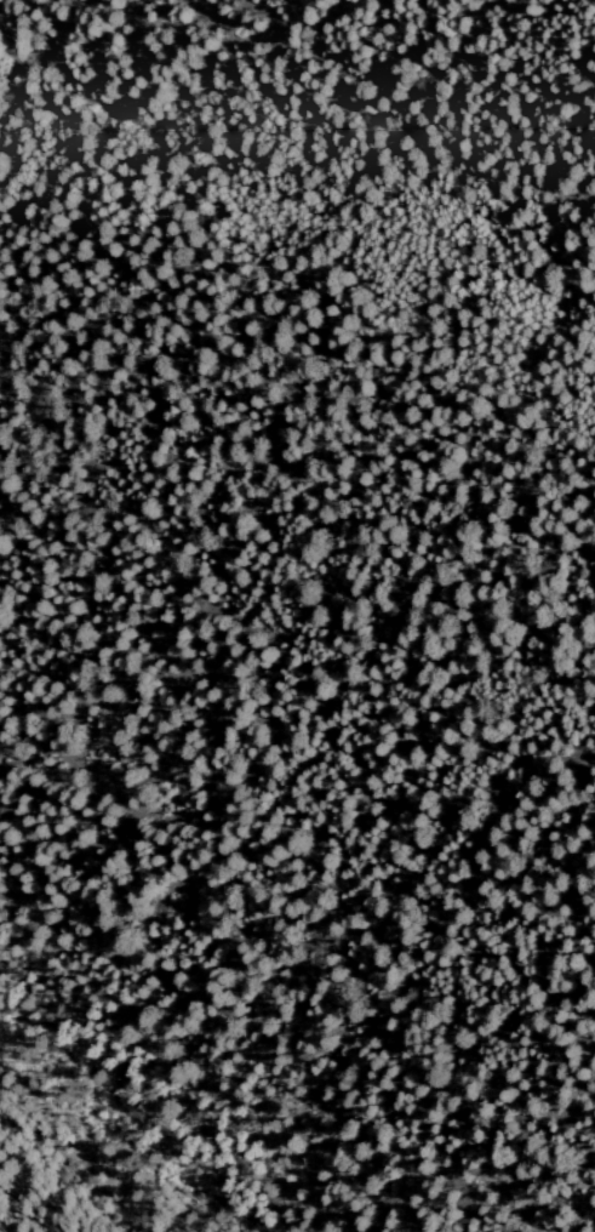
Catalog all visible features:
road: (46, 1198)

